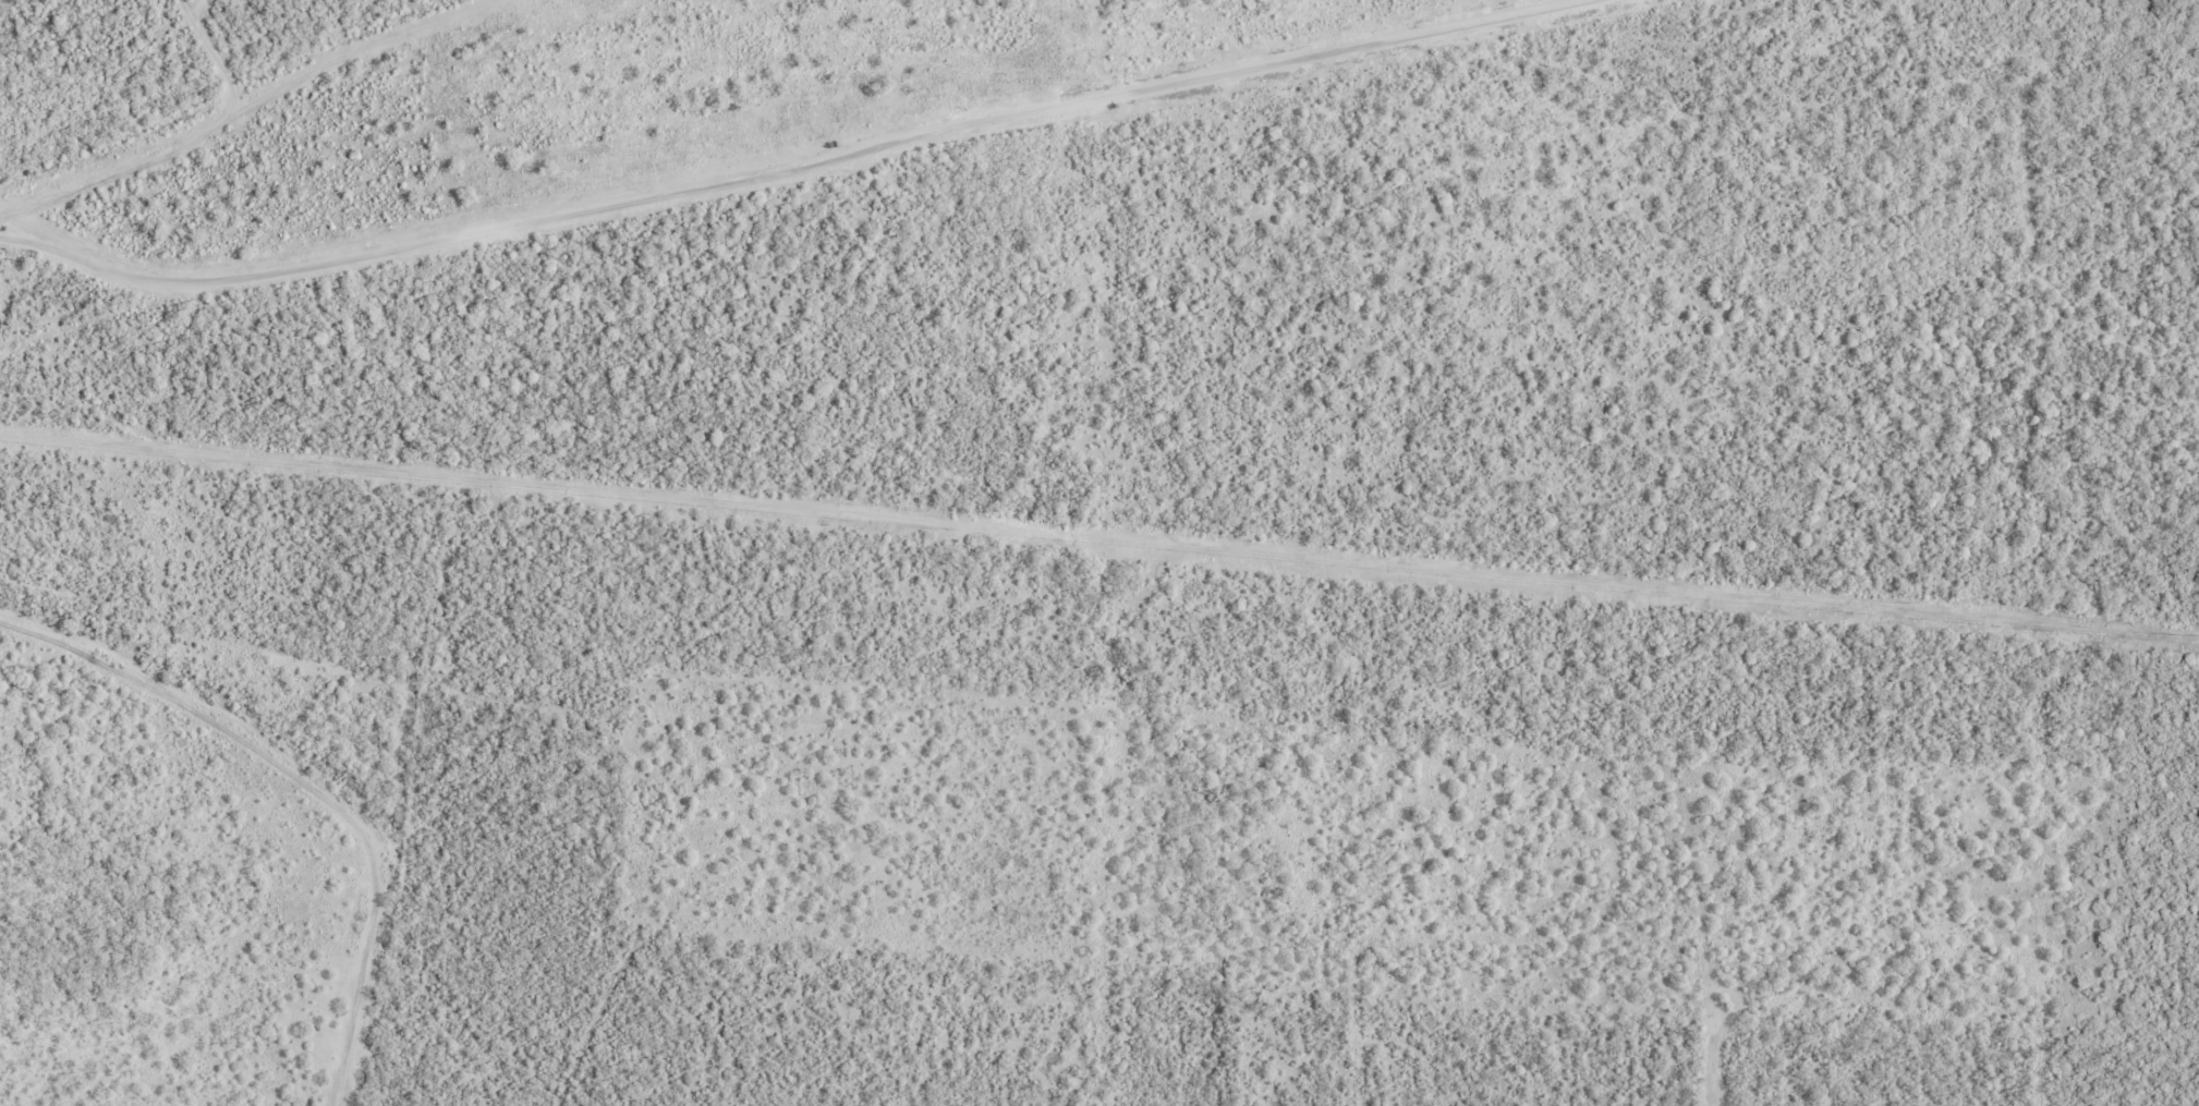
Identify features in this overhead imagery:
road: (246, 107)
road: (787, 166)

